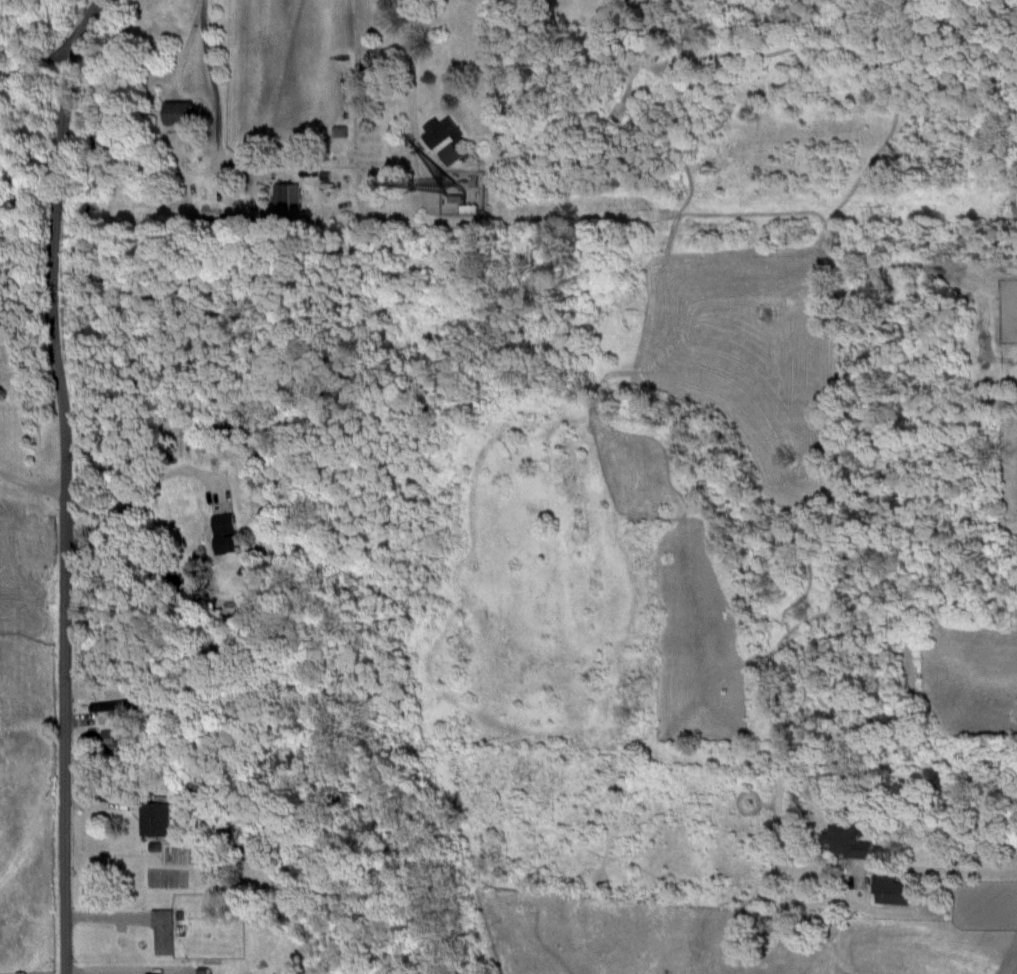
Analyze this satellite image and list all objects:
road: (177, 51)
road: (38, 76)
road: (408, 80)
building: (178, 110)
road: (208, 119)
building: (441, 130)
building: (449, 152)
building: (285, 194)
road: (64, 483)
road: (31, 486)
road: (139, 494)
building: (223, 532)
building: (110, 706)
building: (107, 737)
building: (153, 818)
building: (847, 838)
road: (939, 868)
building: (890, 889)
building: (162, 931)

